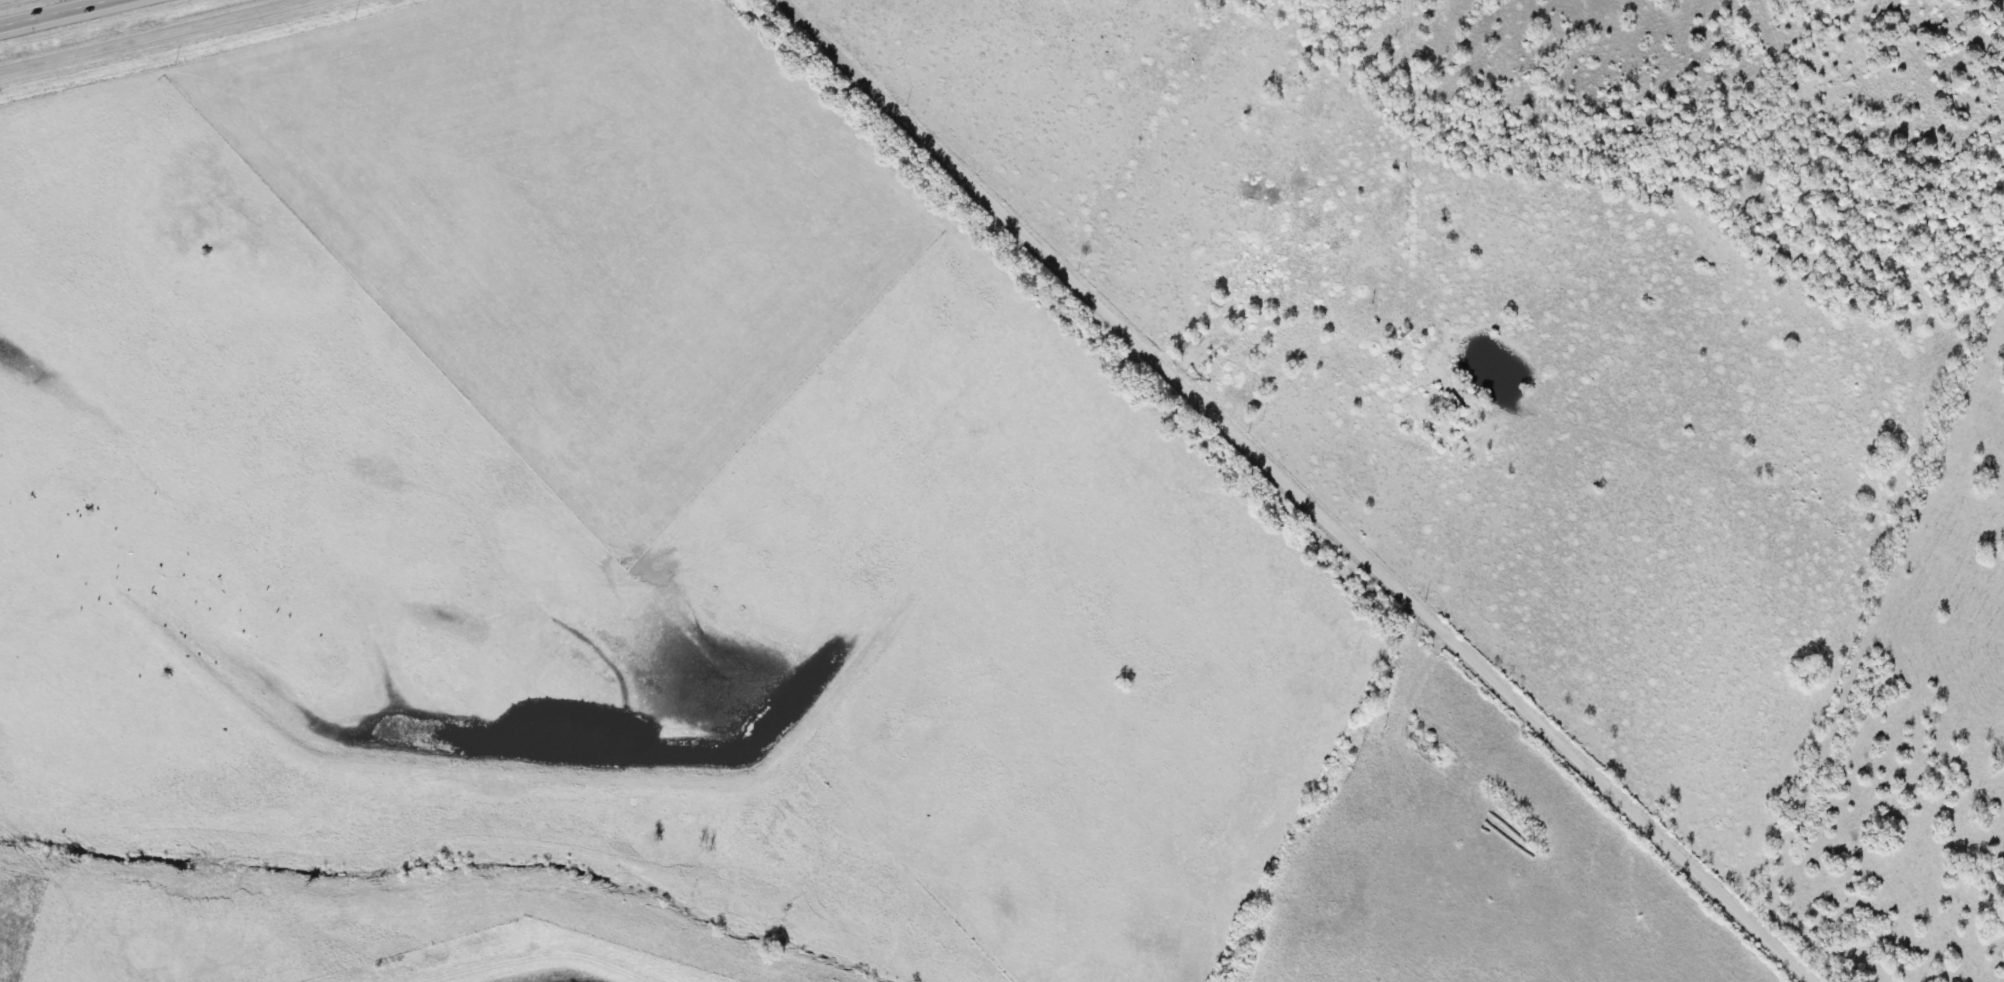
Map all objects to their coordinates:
road: (58, 13)
road: (149, 34)
road: (1296, 489)

